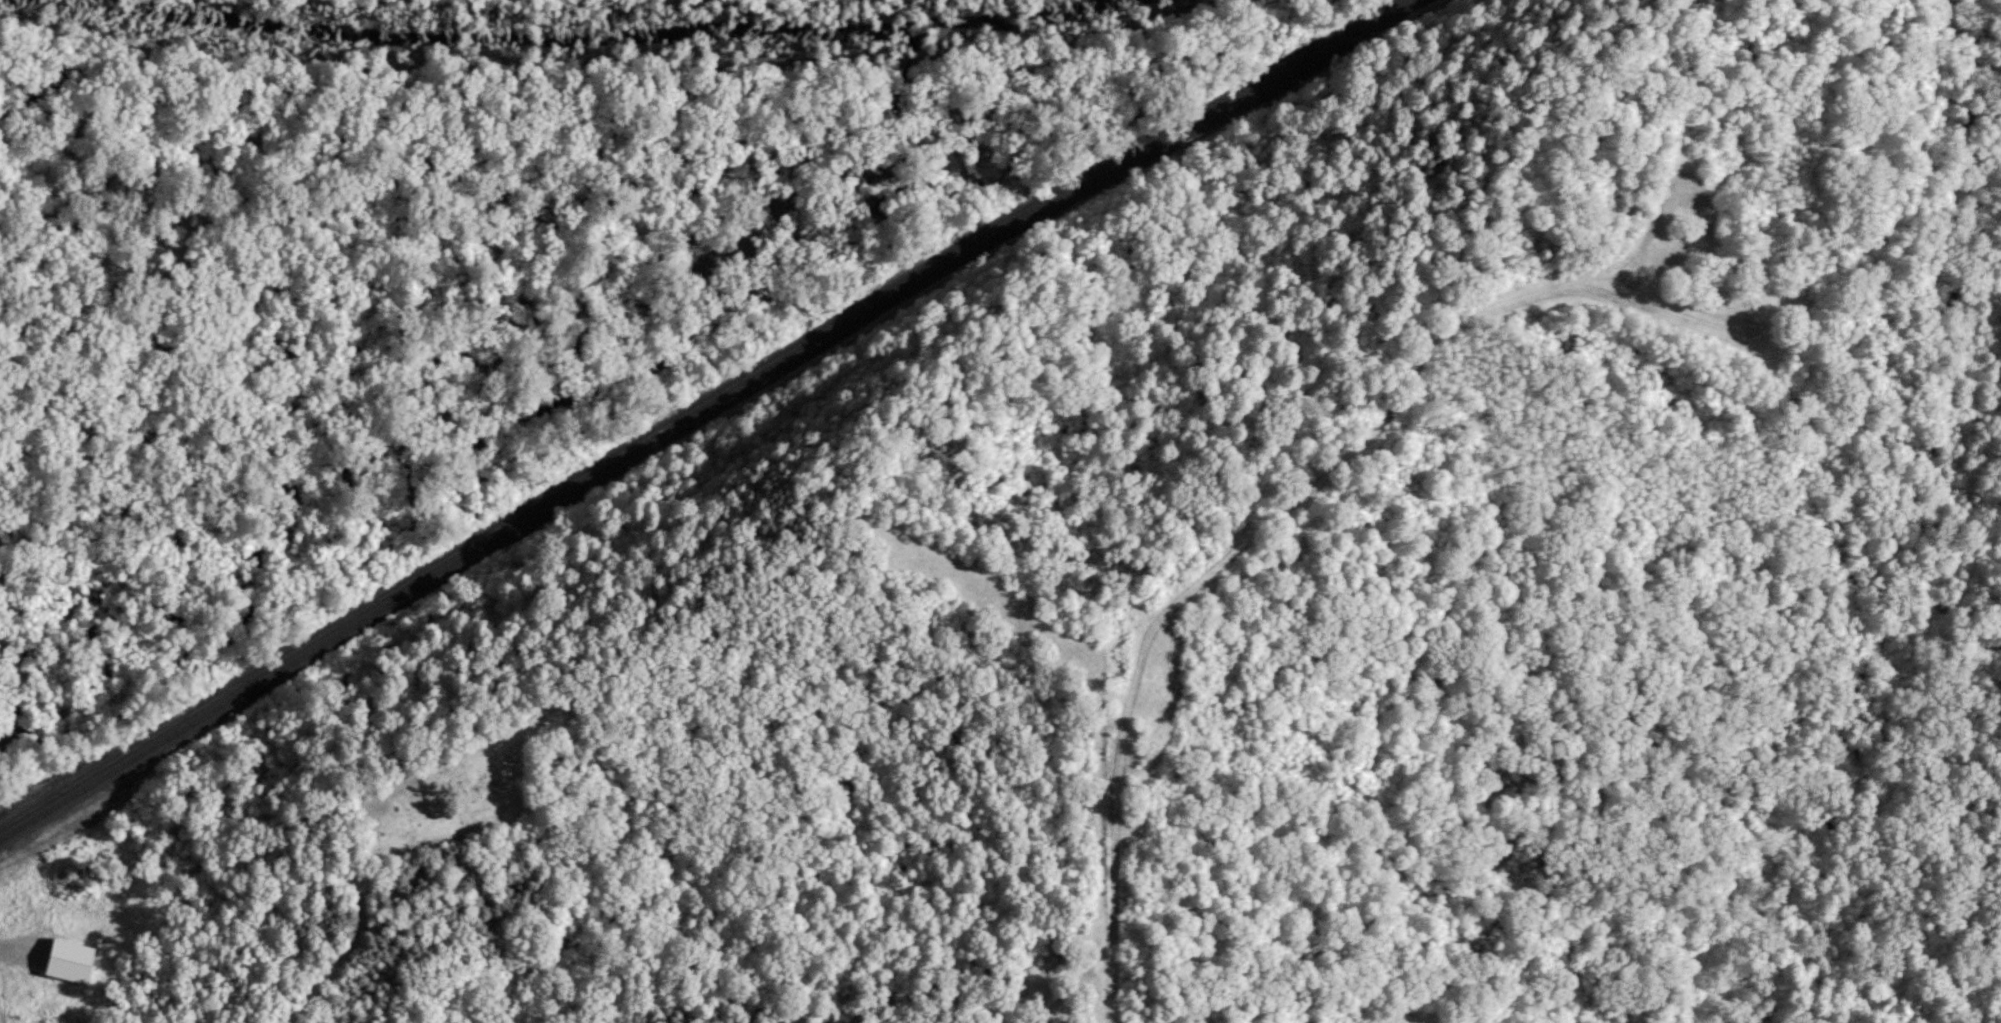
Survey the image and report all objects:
railway: (695, 411)
railway: (707, 417)
road: (15, 992)

